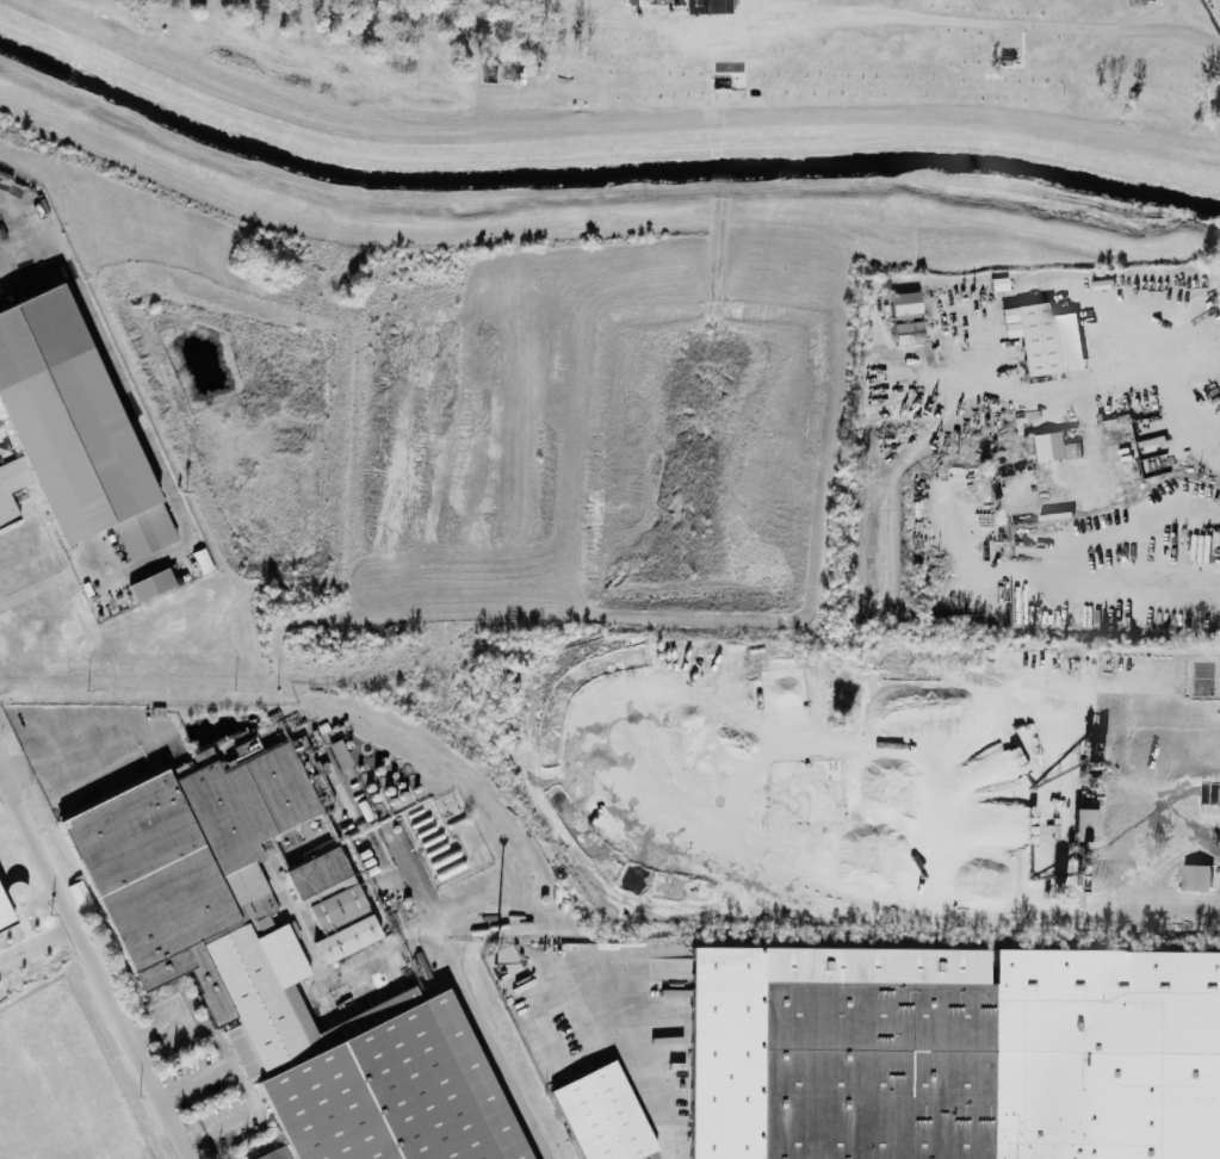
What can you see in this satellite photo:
building: (657, 1)
building: (700, 7)
road: (999, 24)
road: (18, 106)
river: (600, 153)
building: (898, 304)
building: (900, 333)
building: (1034, 340)
road: (883, 348)
building: (73, 432)
building: (1042, 447)
road: (155, 454)
building: (154, 585)
road: (135, 723)
building: (333, 754)
road: (19, 770)
road: (0, 777)
road: (1137, 798)
building: (1077, 824)
building: (1191, 876)
building: (7, 918)
road: (478, 922)
road: (924, 923)
building: (335, 925)
road: (36, 941)
road: (92, 967)
building: (271, 971)
road: (156, 1025)
road: (488, 1042)
road: (639, 1056)
building: (996, 1062)
building: (593, 1116)

